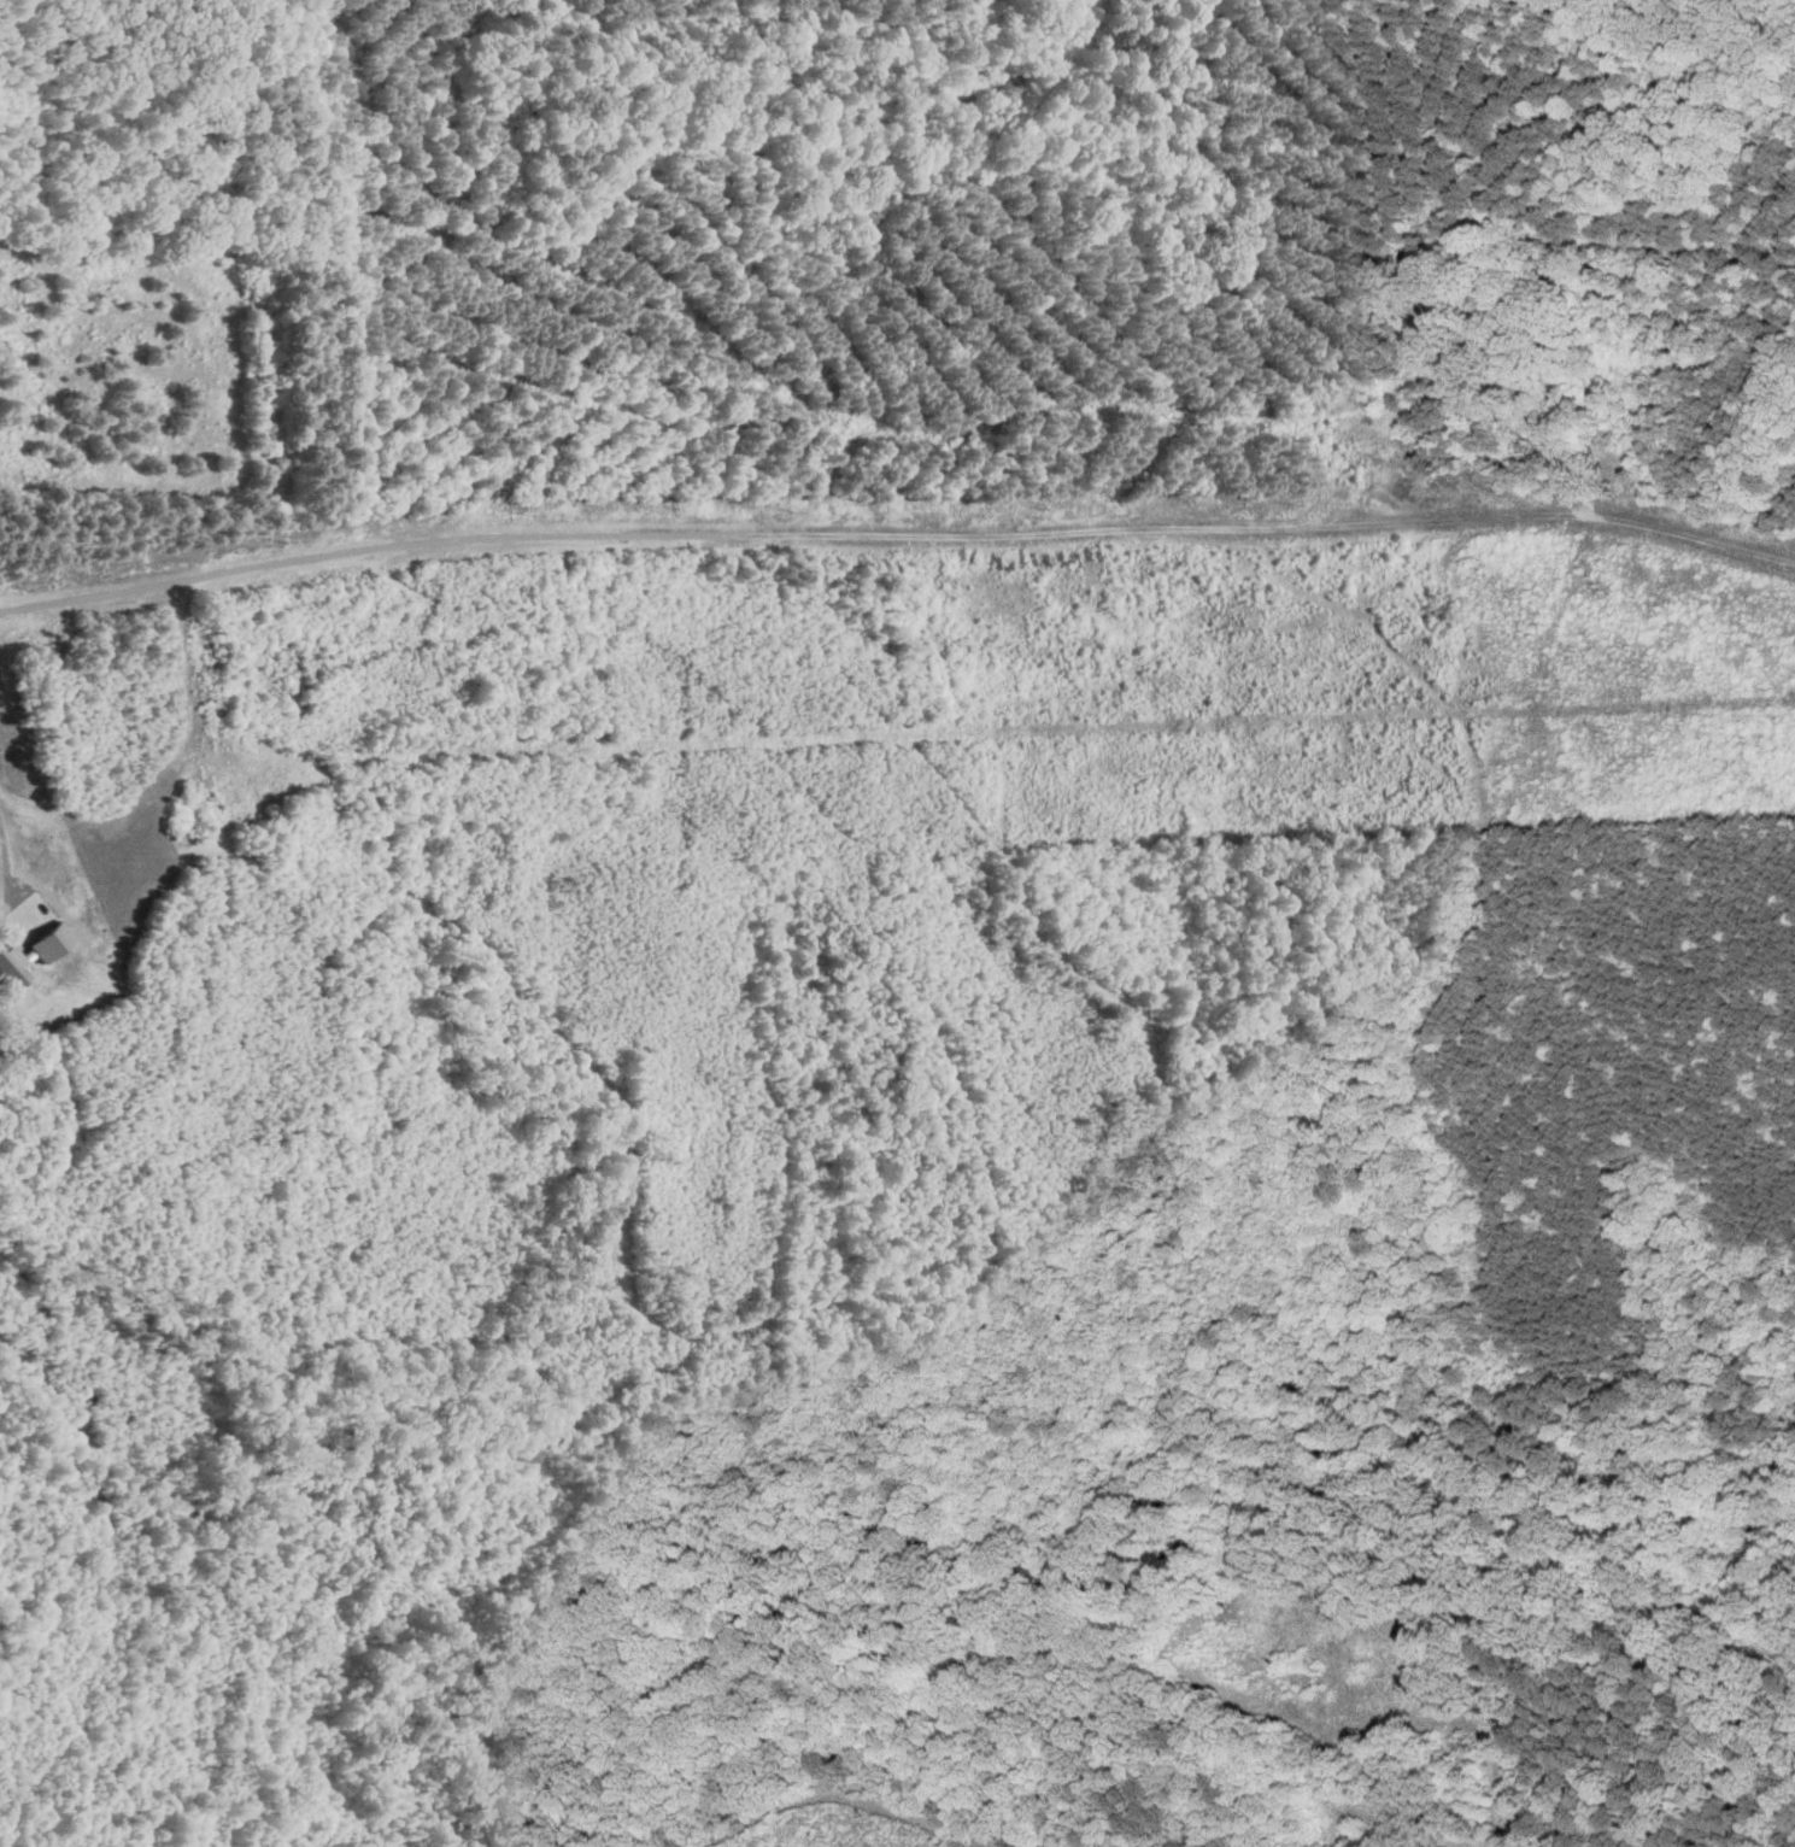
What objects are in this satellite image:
building: (1304, 1672)
building: (1347, 1834)

